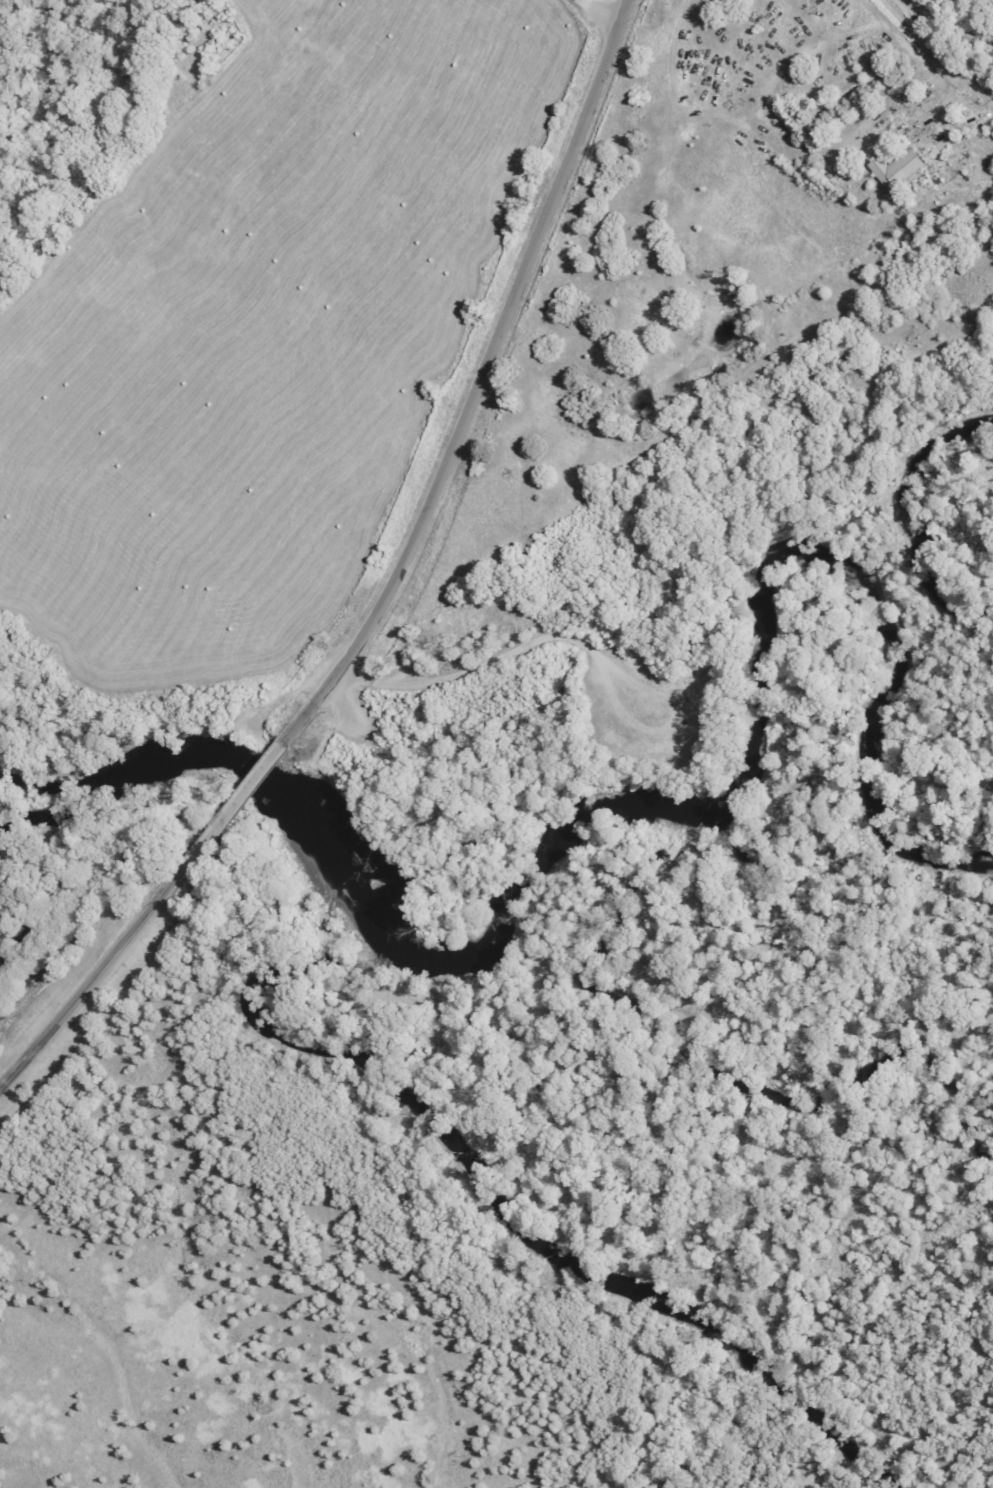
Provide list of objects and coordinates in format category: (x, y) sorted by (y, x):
road: (959, 14)
building: (896, 170)
road: (946, 171)
road: (460, 399)
road: (130, 936)

